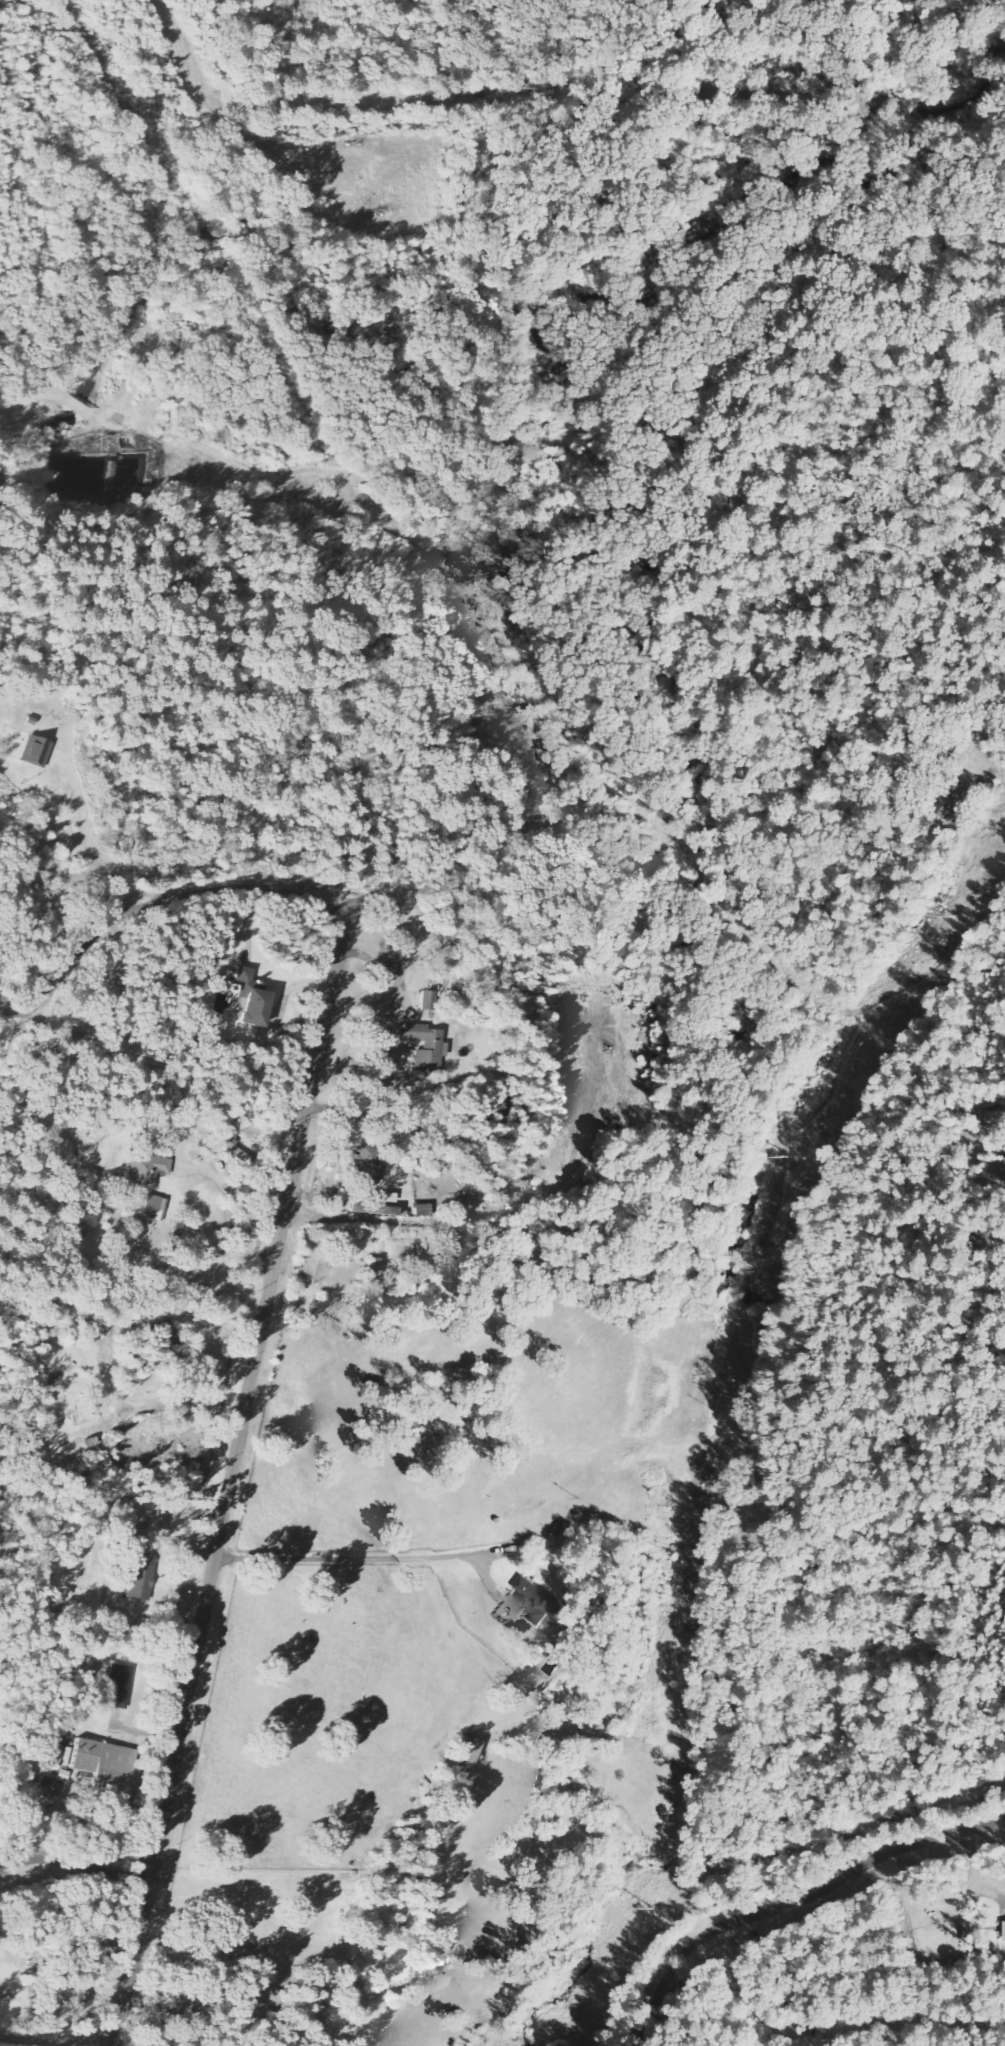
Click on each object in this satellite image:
building: (37, 753)
building: (954, 798)
road: (154, 902)
power tower: (958, 916)
building: (244, 976)
building: (429, 1002)
building: (254, 1008)
building: (426, 1048)
building: (997, 1117)
building: (235, 1152)
power tower: (797, 1163)
building: (368, 1166)
building: (147, 1170)
building: (364, 1206)
building: (155, 1207)
road: (230, 1478)
power tower: (675, 1552)
building: (138, 1577)
building: (539, 1604)
building: (118, 1687)
building: (469, 1754)
building: (105, 1766)
road: (74, 1864)
road: (790, 1905)
power tower: (654, 1909)
building: (1002, 1931)
road: (732, 1990)

